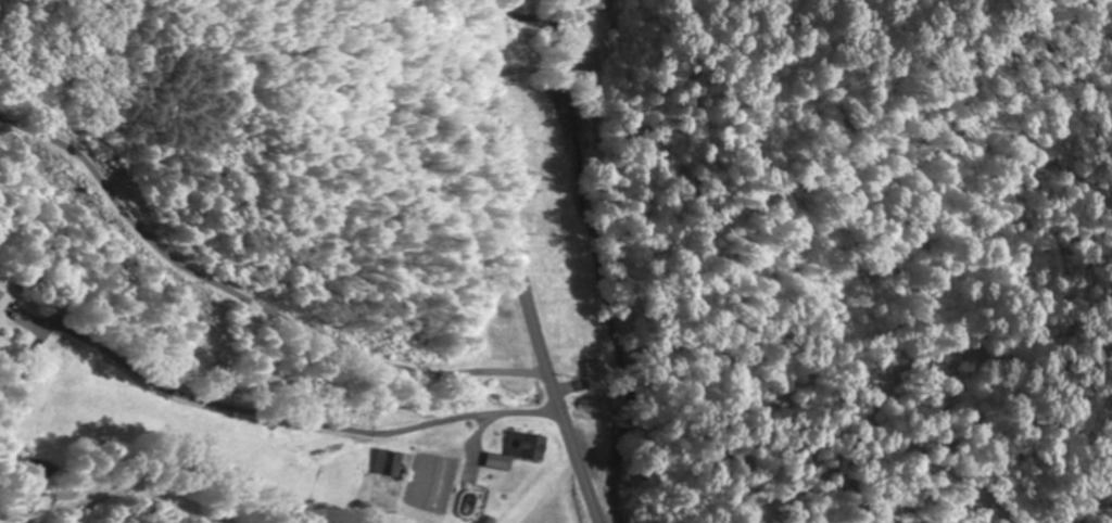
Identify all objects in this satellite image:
building: (599, 3)
road: (510, 214)
building: (5, 304)
building: (593, 373)
road: (273, 435)
building: (522, 446)
building: (283, 452)
road: (570, 473)

